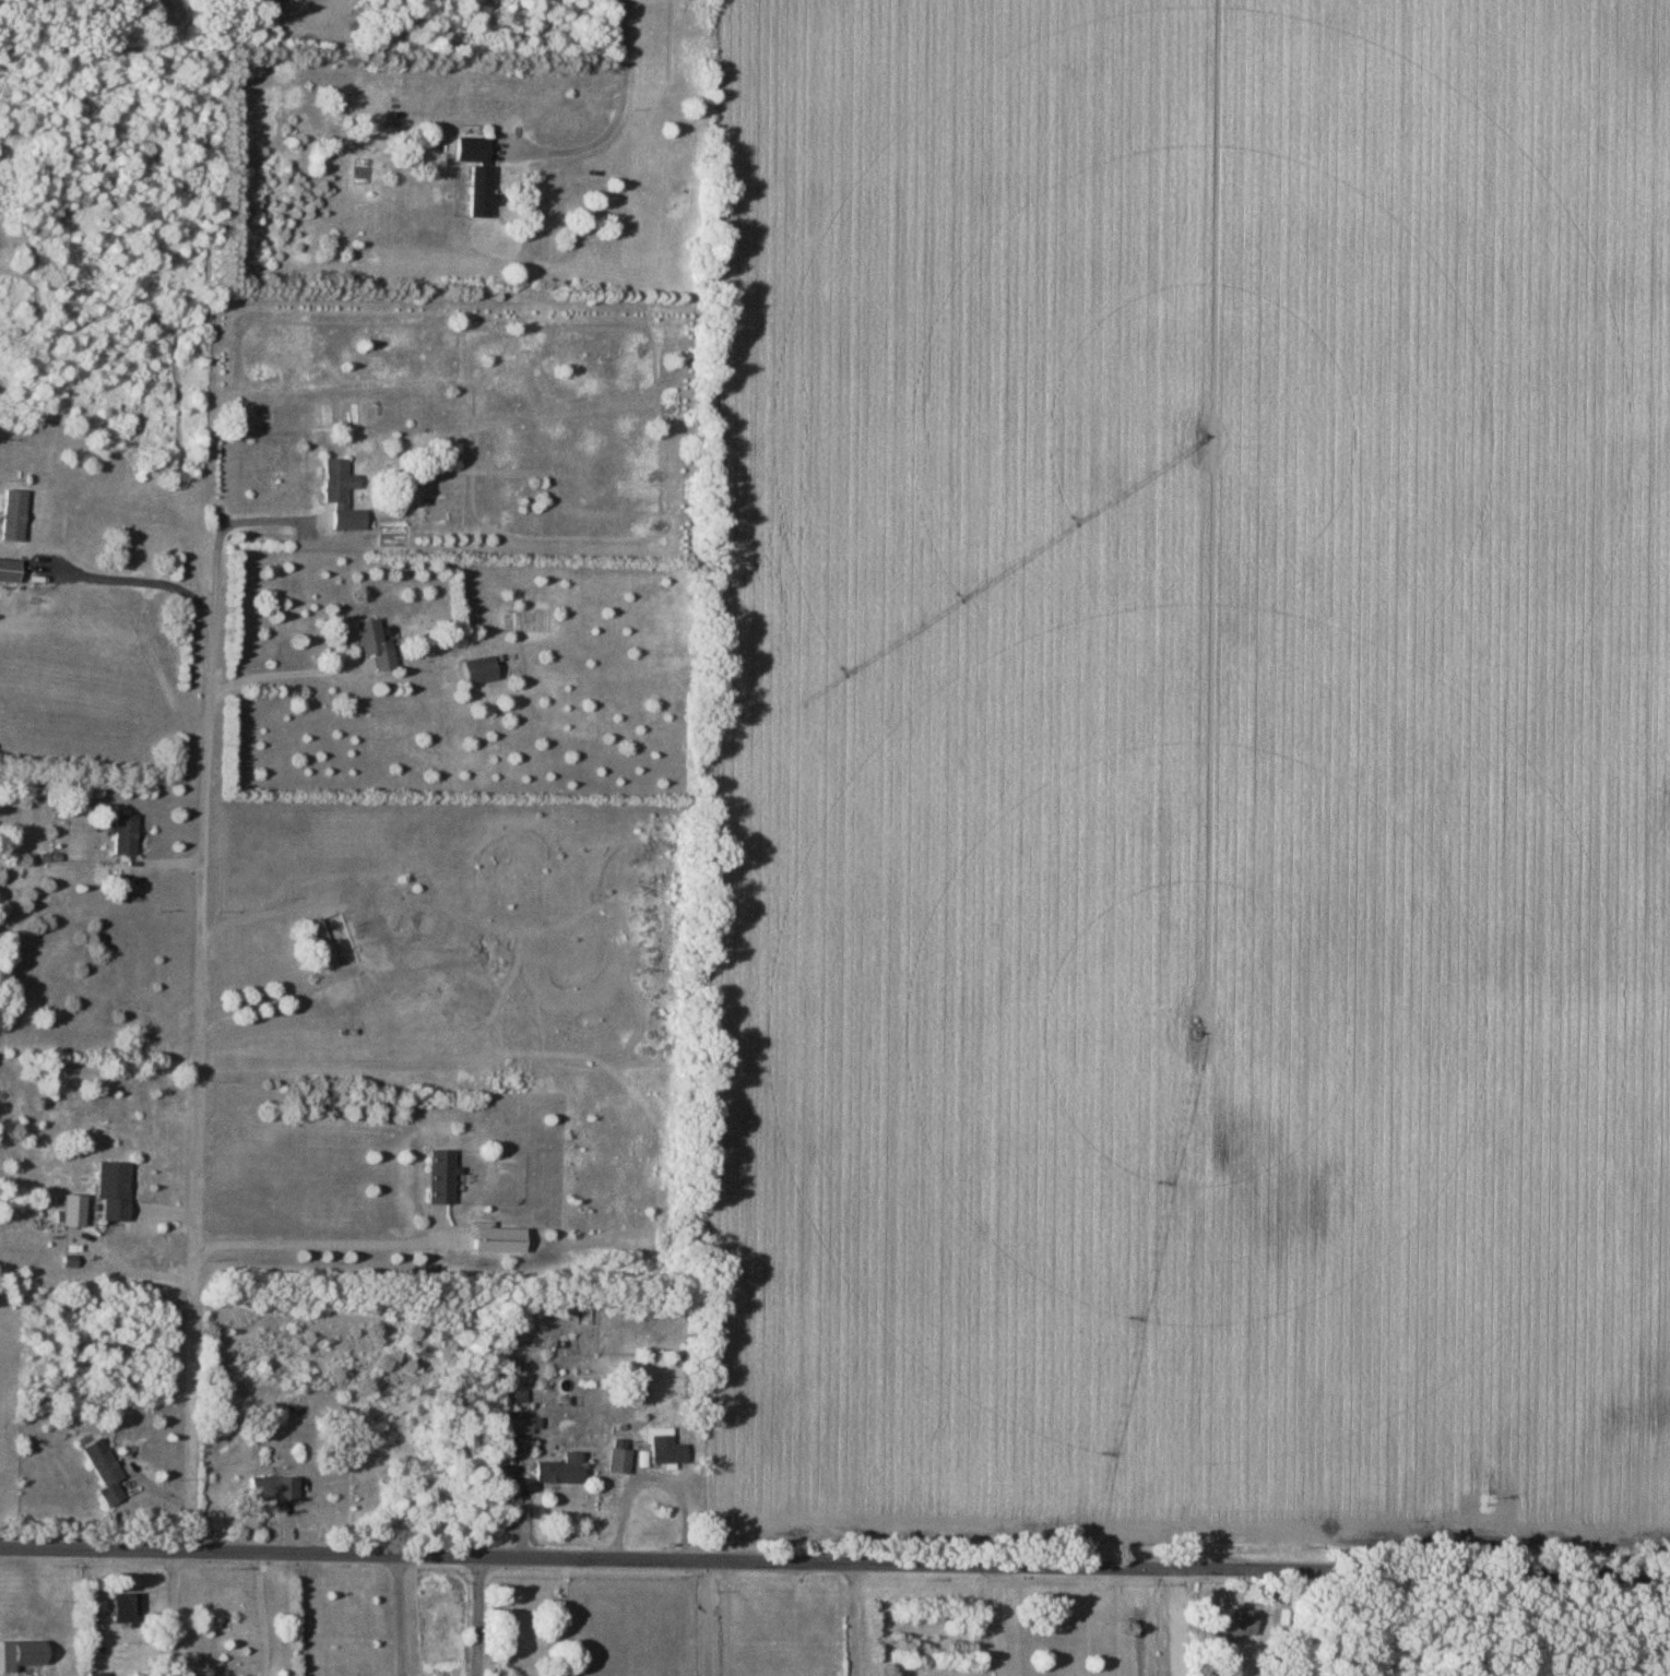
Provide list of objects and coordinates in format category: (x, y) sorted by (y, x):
road: (619, 111)
building: (342, 495)
building: (14, 516)
building: (9, 571)
building: (374, 646)
road: (157, 662)
building: (479, 669)
road: (276, 671)
building: (126, 834)
building: (341, 939)
road: (201, 1039)
building: (441, 1177)
building: (115, 1181)
building: (73, 1211)
road: (322, 1243)
road: (116, 1252)
building: (524, 1425)
building: (667, 1450)
building: (620, 1458)
building: (104, 1469)
building: (560, 1471)
building: (274, 1488)
road: (834, 1562)
building: (123, 1607)
road: (176, 1616)
road: (306, 1616)
road: (265, 1617)
road: (404, 1617)
road: (476, 1618)
road: (710, 1618)
road: (857, 1619)
road: (1003, 1620)
road: (1175, 1621)
building: (1240, 1624)
building: (21, 1654)

